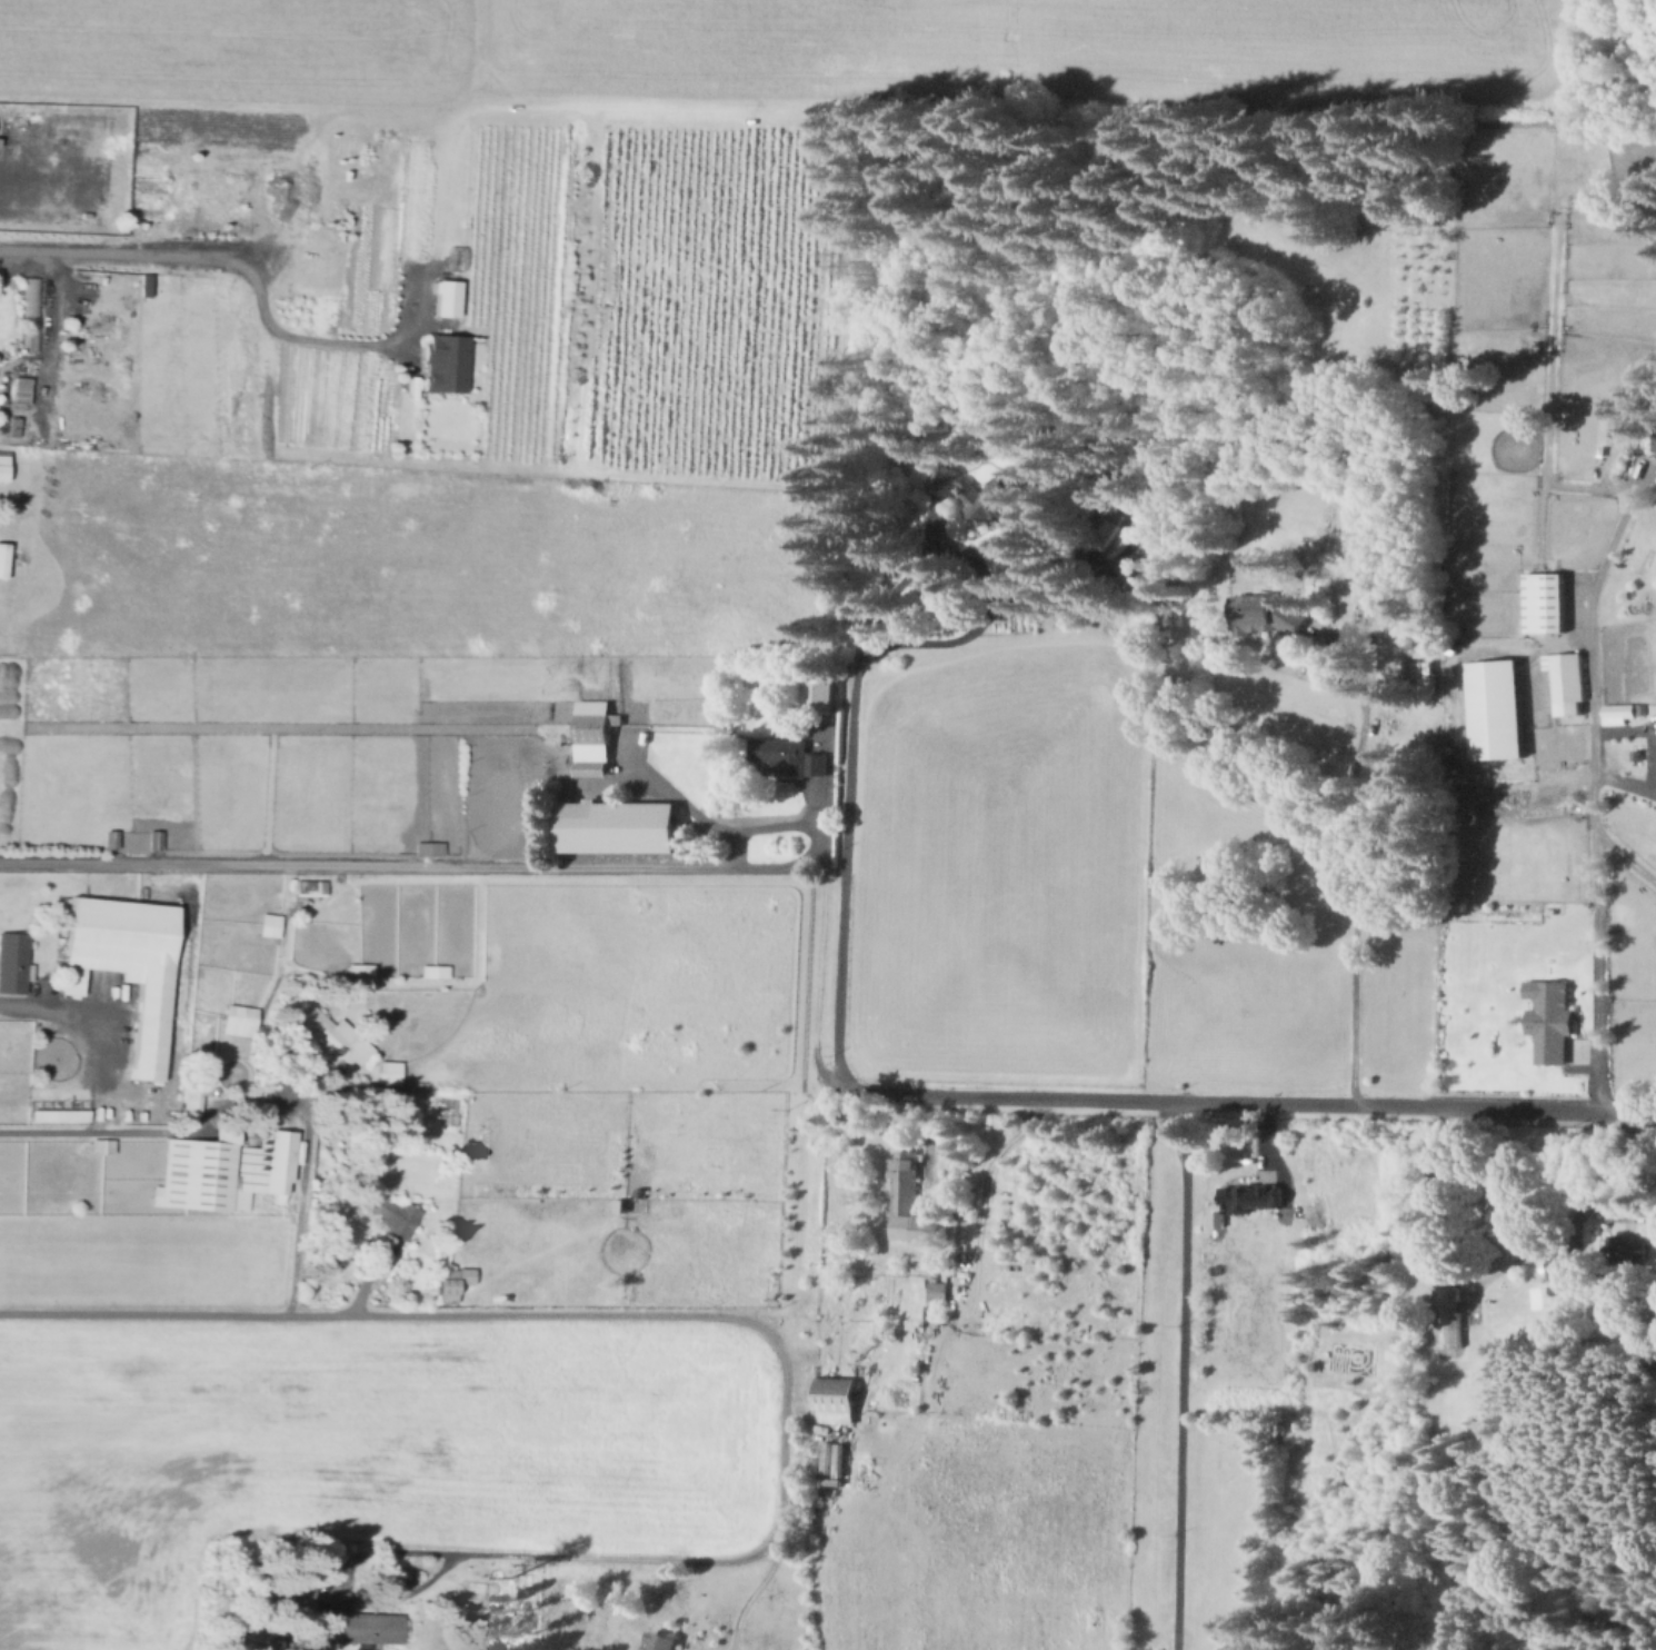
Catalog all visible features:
crop: (248, 48)
crop: (1050, 50)
building: (4, 136)
road: (596, 158)
building: (143, 284)
road: (258, 289)
building: (445, 296)
building: (29, 317)
road: (48, 324)
building: (445, 361)
road: (1547, 391)
building: (20, 395)
building: (13, 430)
building: (1654, 444)
building: (1655, 451)
road: (489, 465)
building: (2, 470)
road: (247, 488)
building: (1004, 493)
road: (1540, 520)
road: (622, 521)
building: (1113, 526)
road: (1349, 556)
building: (3, 560)
crop: (413, 564)
building: (1138, 568)
road: (1050, 579)
building: (1546, 607)
building: (1270, 613)
building: (1398, 656)
road: (1590, 670)
building: (775, 688)
building: (1569, 688)
building: (821, 693)
road: (1459, 709)
building: (1617, 712)
building: (1497, 715)
road: (1625, 728)
building: (596, 732)
road: (850, 754)
building: (790, 755)
road: (1617, 776)
road: (670, 792)
road: (816, 824)
building: (619, 827)
building: (113, 835)
building: (158, 836)
building: (441, 843)
building: (427, 846)
road: (1350, 849)
road: (366, 863)
building: (307, 886)
building: (268, 923)
building: (276, 930)
building: (14, 963)
building: (123, 964)
building: (437, 970)
road: (1597, 970)
building: (362, 971)
building: (1547, 1018)
building: (241, 1020)
road: (96, 1035)
building: (336, 1041)
building: (391, 1073)
building: (192, 1101)
road: (1254, 1101)
building: (58, 1113)
road: (202, 1121)
building: (102, 1145)
road: (928, 1152)
road: (1266, 1156)
building: (225, 1175)
building: (1241, 1196)
building: (911, 1200)
building: (388, 1210)
road: (1507, 1211)
building: (1632, 1256)
road: (295, 1260)
building: (1564, 1265)
road: (365, 1279)
building: (446, 1288)
building: (939, 1292)
road: (731, 1318)
building: (1449, 1322)
road: (1180, 1374)
building: (832, 1400)
crop: (363, 1450)
road: (755, 1589)
building: (298, 1596)
building: (362, 1628)
building: (252, 1639)
building: (664, 1642)

